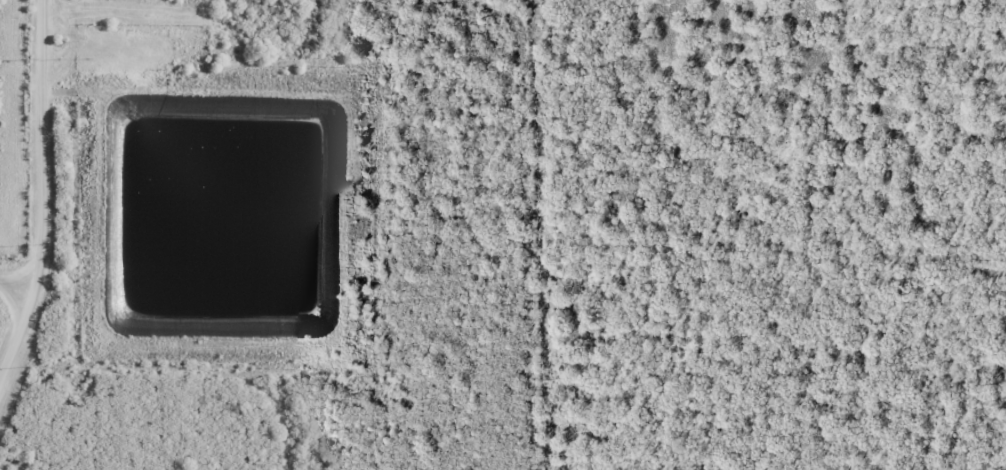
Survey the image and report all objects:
road: (43, 200)

